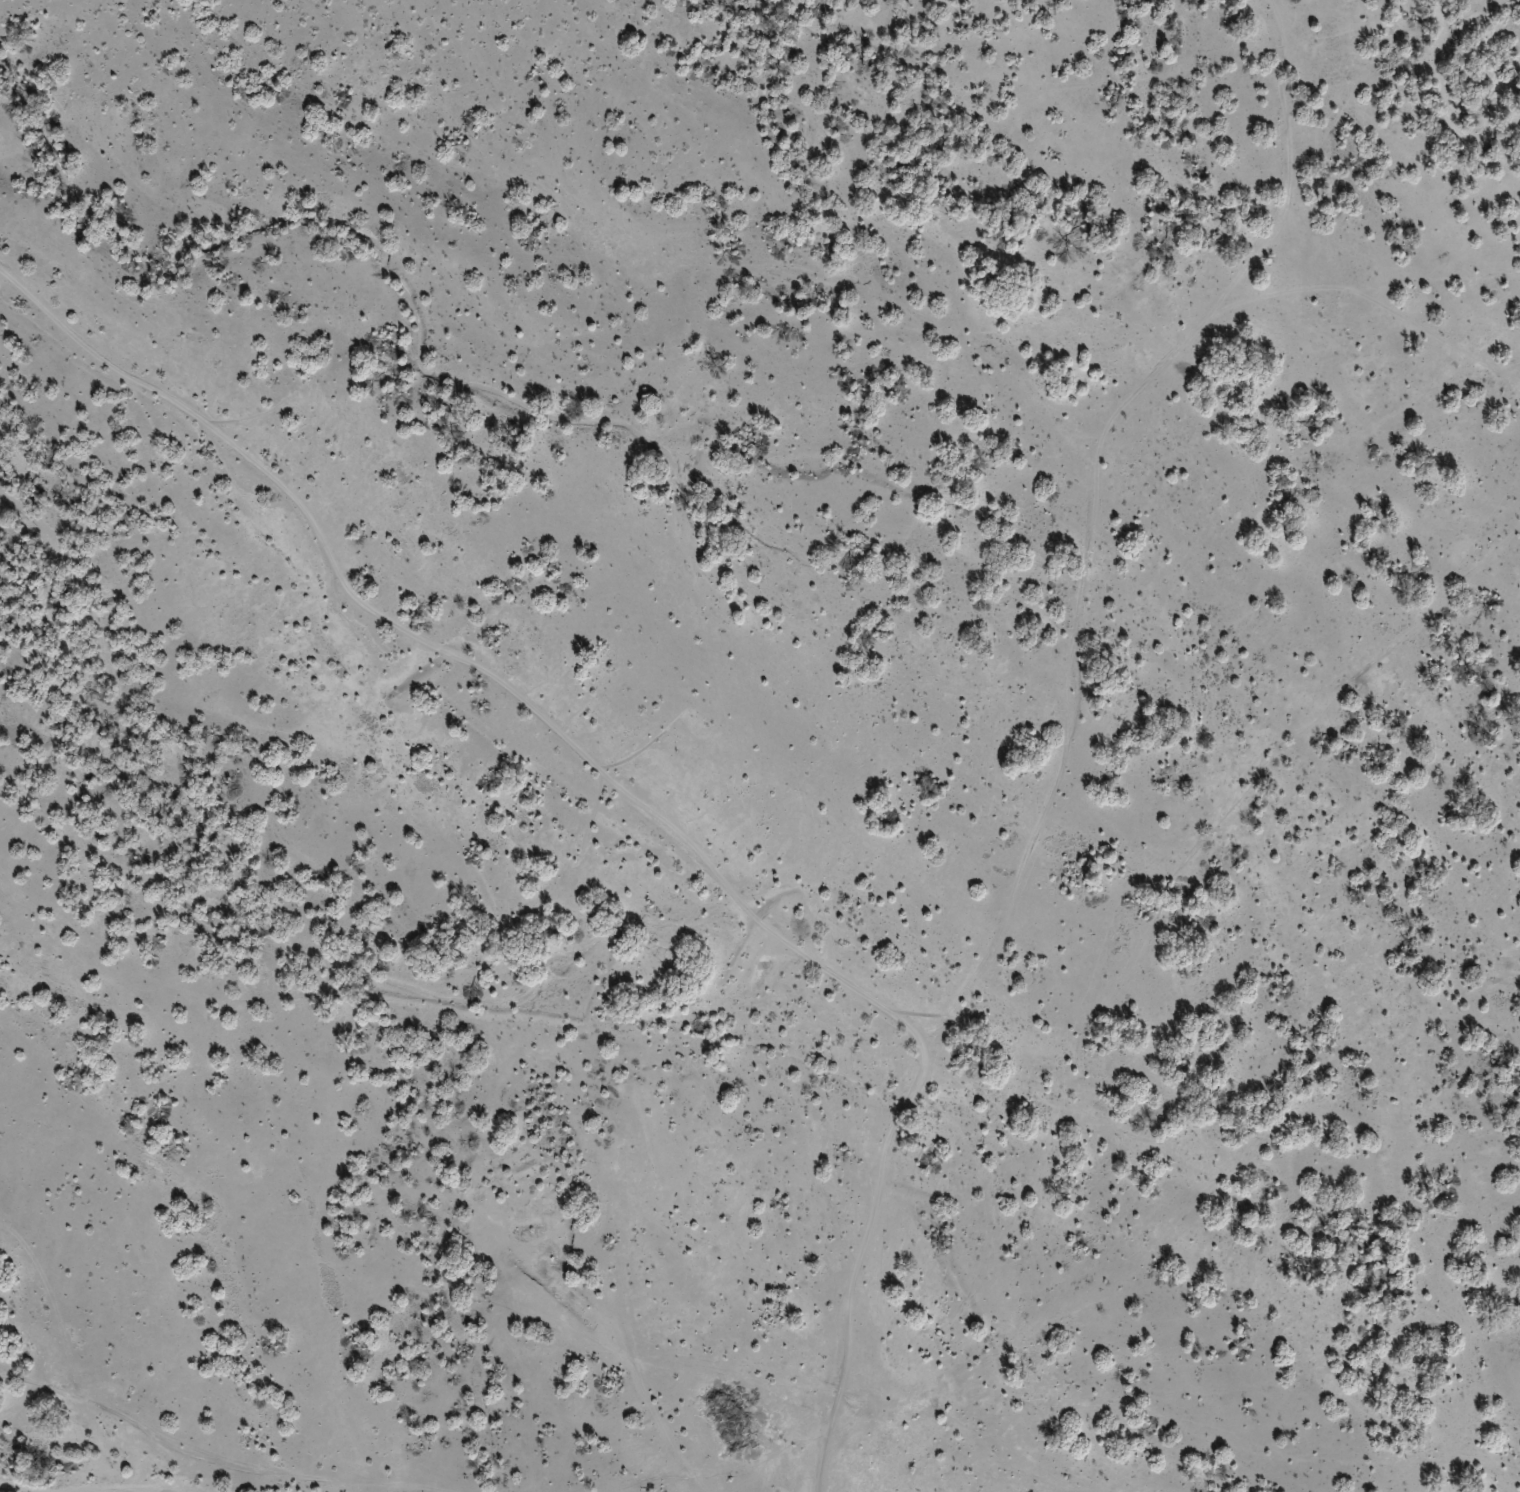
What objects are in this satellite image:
road: (448, 678)
road: (1059, 743)

